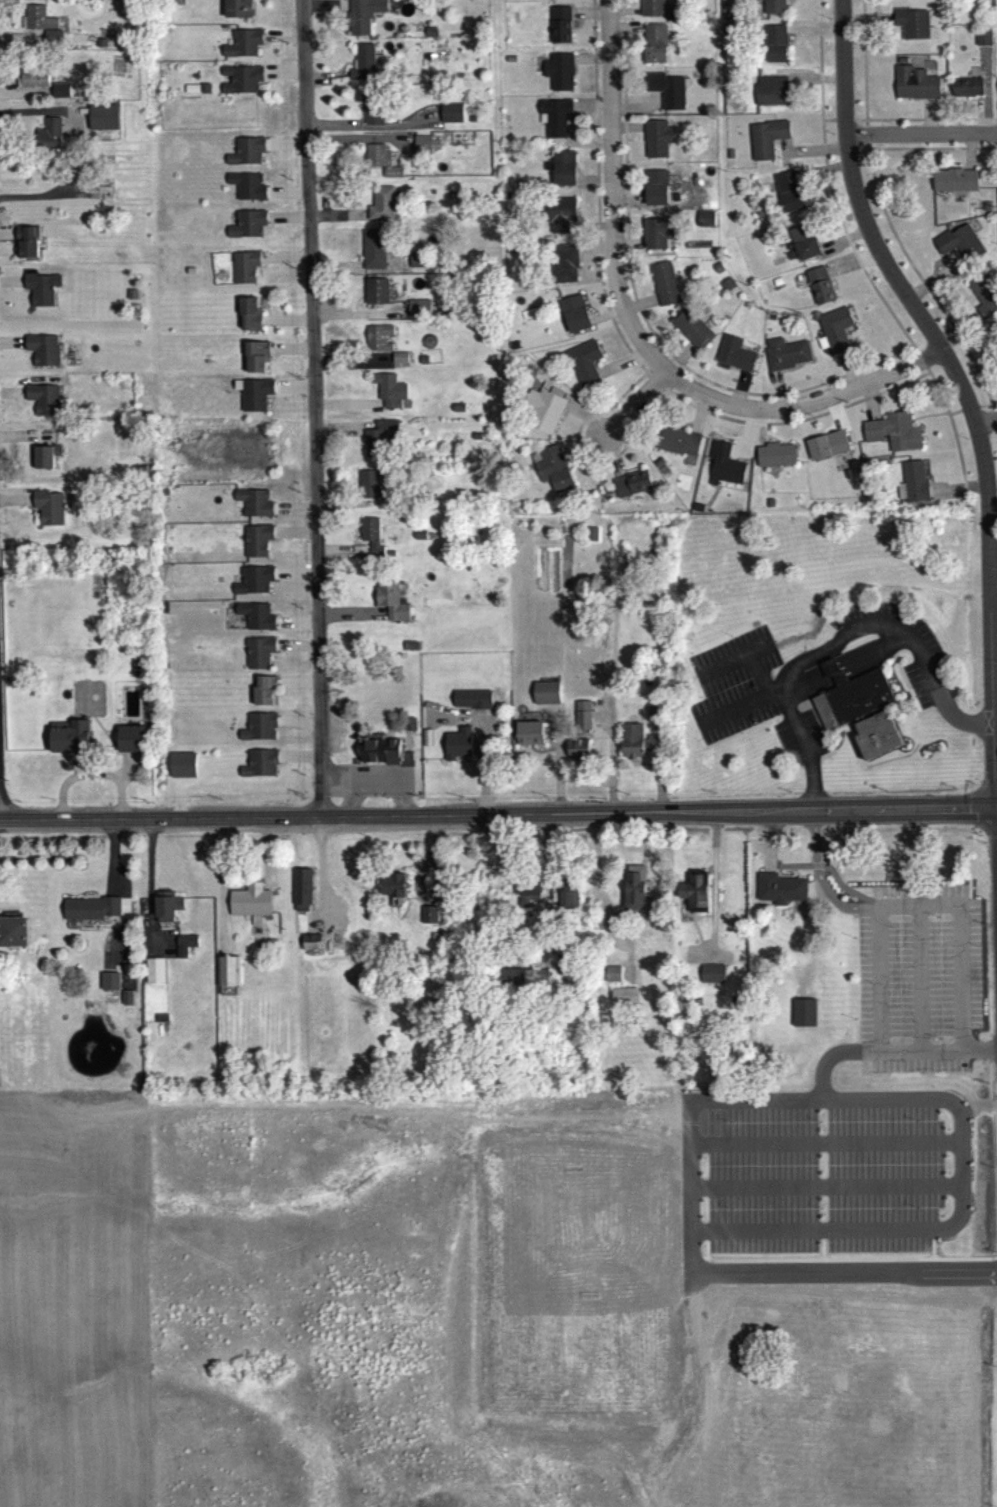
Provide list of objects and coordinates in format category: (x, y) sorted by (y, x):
building: (559, 0)
building: (177, 5)
road: (251, 6)
building: (772, 8)
road: (324, 10)
building: (652, 10)
building: (237, 11)
building: (425, 12)
road: (625, 16)
road: (389, 17)
road: (589, 17)
road: (382, 18)
building: (43, 19)
road: (330, 19)
road: (347, 19)
building: (362, 19)
building: (707, 19)
road: (339, 24)
road: (867, 24)
building: (911, 27)
building: (560, 29)
road: (626, 32)
building: (726, 33)
road: (813, 34)
building: (429, 37)
road: (282, 40)
building: (52, 41)
building: (982, 41)
building: (243, 48)
building: (654, 48)
building: (775, 48)
road: (266, 50)
road: (590, 63)
building: (509, 64)
road: (862, 65)
building: (901, 65)
building: (365, 69)
road: (341, 71)
building: (35, 76)
building: (559, 76)
road: (282, 78)
road: (326, 83)
building: (241, 84)
road: (814, 84)
road: (265, 86)
road: (985, 86)
building: (63, 88)
building: (914, 88)
building: (966, 91)
building: (191, 93)
building: (205, 93)
building: (666, 94)
building: (60, 95)
building: (771, 95)
road: (590, 109)
building: (372, 110)
building: (106, 114)
road: (637, 115)
building: (451, 117)
road: (978, 118)
road: (359, 119)
road: (926, 120)
building: (555, 121)
building: (471, 123)
road: (827, 124)
road: (842, 124)
road: (858, 124)
road: (930, 124)
street lamp: (893, 129)
building: (52, 131)
road: (373, 132)
road: (626, 132)
road: (866, 138)
road: (919, 138)
road: (359, 142)
building: (656, 143)
building: (767, 143)
road: (284, 149)
building: (425, 149)
road: (931, 153)
building: (246, 155)
road: (808, 155)
road: (968, 156)
building: (729, 158)
building: (380, 165)
building: (563, 172)
road: (822, 174)
road: (593, 184)
building: (954, 185)
road: (827, 187)
building: (247, 190)
road: (625, 190)
building: (656, 193)
road: (596, 194)
road: (285, 195)
road: (611, 196)
building: (788, 196)
building: (674, 202)
road: (628, 205)
building: (381, 210)
building: (985, 211)
building: (559, 218)
road: (336, 220)
road: (286, 222)
building: (705, 224)
building: (247, 228)
road: (590, 232)
building: (657, 237)
building: (29, 239)
road: (843, 243)
building: (803, 247)
road: (895, 247)
road: (628, 248)
building: (958, 248)
building: (373, 254)
road: (594, 254)
road: (283, 262)
building: (417, 265)
road: (852, 266)
building: (561, 267)
building: (244, 272)
building: (718, 272)
road: (364, 276)
road: (936, 280)
building: (42, 286)
building: (776, 286)
building: (663, 288)
building: (726, 289)
building: (819, 290)
building: (376, 295)
building: (984, 299)
road: (638, 307)
building: (418, 313)
road: (358, 318)
building: (574, 318)
building: (249, 319)
road: (605, 320)
road: (285, 325)
building: (690, 332)
road: (958, 332)
building: (835, 333)
building: (377, 342)
road: (936, 343)
building: (46, 346)
road: (289, 353)
building: (734, 358)
building: (785, 358)
building: (256, 360)
building: (399, 362)
road: (676, 364)
road: (351, 365)
building: (423, 365)
road: (920, 365)
building: (582, 367)
road: (620, 367)
road: (973, 372)
road: (848, 373)
road: (682, 375)
road: (310, 379)
road: (645, 380)
road: (674, 385)
road: (653, 389)
road: (291, 392)
road: (738, 392)
building: (388, 394)
road: (779, 394)
road: (667, 395)
road: (796, 396)
road: (935, 396)
building: (47, 397)
building: (254, 399)
road: (869, 405)
road: (803, 409)
road: (346, 410)
road: (631, 410)
road: (993, 410)
road: (986, 411)
building: (458, 412)
road: (968, 413)
road: (571, 414)
building: (541, 415)
road: (577, 415)
road: (834, 417)
road: (697, 419)
road: (927, 421)
road: (794, 426)
road: (986, 426)
road: (994, 426)
road: (759, 433)
road: (342, 434)
building: (892, 437)
building: (476, 440)
road: (745, 441)
building: (381, 444)
building: (678, 446)
road: (580, 448)
building: (827, 450)
road: (955, 450)
building: (47, 453)
road: (584, 455)
building: (774, 459)
road: (611, 460)
building: (658, 466)
building: (724, 469)
building: (553, 474)
building: (914, 487)
building: (631, 488)
building: (368, 489)
road: (957, 495)
building: (607, 496)
building: (163, 497)
building: (51, 503)
building: (254, 507)
building: (389, 507)
road: (347, 508)
road: (292, 513)
road: (293, 538)
building: (418, 540)
building: (371, 541)
building: (256, 545)
building: (358, 554)
road: (339, 555)
building: (390, 558)
road: (294, 579)
road: (996, 584)
building: (253, 585)
road: (992, 586)
road: (993, 601)
building: (390, 605)
road: (374, 611)
building: (163, 612)
road: (350, 618)
building: (256, 621)
road: (295, 627)
road: (911, 646)
parking lot: (903, 648)
road: (295, 650)
building: (409, 650)
building: (258, 656)
road: (735, 657)
road: (891, 658)
road: (843, 662)
road: (846, 667)
road: (848, 671)
road: (758, 673)
road: (838, 682)
road: (903, 685)
road: (297, 686)
parking lot: (732, 689)
building: (265, 696)
building: (545, 697)
road: (909, 697)
road: (821, 698)
road: (743, 703)
building: (472, 704)
road: (788, 705)
road: (898, 708)
road: (812, 713)
parking lot: (495, 717)
building: (860, 717)
building: (651, 719)
parking lot: (435, 720)
building: (582, 720)
road: (995, 720)
road: (531, 721)
road: (494, 723)
road: (467, 726)
road: (963, 726)
road: (297, 727)
parking lot: (331, 728)
building: (412, 729)
building: (259, 732)
road: (281, 732)
road: (349, 734)
road: (651, 735)
road: (110, 736)
road: (380, 737)
road: (652, 737)
building: (529, 738)
road: (549, 738)
road: (580, 739)
parking lot: (798, 741)
building: (70, 742)
building: (131, 743)
road: (594, 743)
road: (825, 743)
road: (109, 746)
parking lot: (406, 746)
building: (640, 747)
building: (457, 748)
road: (993, 750)
building: (576, 754)
building: (383, 755)
road: (556, 759)
road: (298, 760)
road: (610, 760)
road: (221, 761)
road: (119, 763)
road: (106, 765)
road: (472, 766)
road: (483, 766)
road: (281, 768)
building: (259, 769)
road: (640, 769)
building: (182, 770)
road: (131, 773)
road: (319, 777)
road: (375, 777)
road: (94, 779)
parking lot: (376, 784)
road: (186, 788)
road: (659, 788)
road: (328, 795)
road: (344, 795)
road: (379, 795)
road: (351, 799)
road: (176, 803)
road: (319, 808)
road: (894, 810)
road: (348, 812)
road: (403, 812)
road: (569, 818)
road: (332, 822)
road: (159, 824)
road: (772, 832)
road: (990, 842)
parking lot: (756, 850)
road: (261, 859)
road: (768, 861)
road: (815, 861)
road: (974, 866)
road: (318, 871)
road: (255, 881)
road: (600, 881)
road: (111, 882)
road: (716, 885)
building: (393, 889)
road: (220, 892)
road: (843, 892)
road: (148, 893)
road: (152, 893)
road: (160, 893)
building: (301, 893)
building: (636, 893)
building: (780, 894)
building: (568, 896)
building: (695, 896)
building: (529, 897)
road: (97, 900)
building: (249, 905)
road: (833, 906)
road: (123, 908)
building: (167, 910)
road: (8, 913)
building: (91, 913)
building: (428, 919)
street lamp: (936, 922)
road: (307, 927)
road: (163, 933)
building: (14, 935)
road: (959, 941)
building: (311, 946)
road: (814, 947)
building: (185, 949)
road: (163, 951)
road: (111, 952)
building: (155, 975)
building: (227, 976)
building: (539, 978)
building: (613, 978)
building: (712, 978)
building: (511, 981)
parking lot: (917, 982)
road: (919, 984)
building: (109, 985)
road: (876, 985)
building: (624, 1000)
building: (127, 1002)
building: (803, 1017)
building: (161, 1023)
street lamp: (940, 1044)
road: (985, 1053)
road: (943, 1054)
road: (968, 1054)
road: (901, 1055)
road: (802, 1104)
street lamp: (916, 1126)
street lamp: (820, 1127)
street lamp: (730, 1128)
road: (886, 1147)
road: (724, 1170)
road: (753, 1170)
road: (811, 1170)
parking lot: (825, 1176)
road: (886, 1191)
street lamp: (916, 1213)
street lamp: (730, 1214)
street lamp: (820, 1215)
road: (951, 1232)
road: (821, 1240)
road: (931, 1259)
road: (821, 1260)
road: (704, 1262)
road: (714, 1263)
road: (996, 1263)
road: (850, 1265)
road: (946, 1275)
road: (706, 1278)
park: (573, 1280)
road: (703, 1398)

